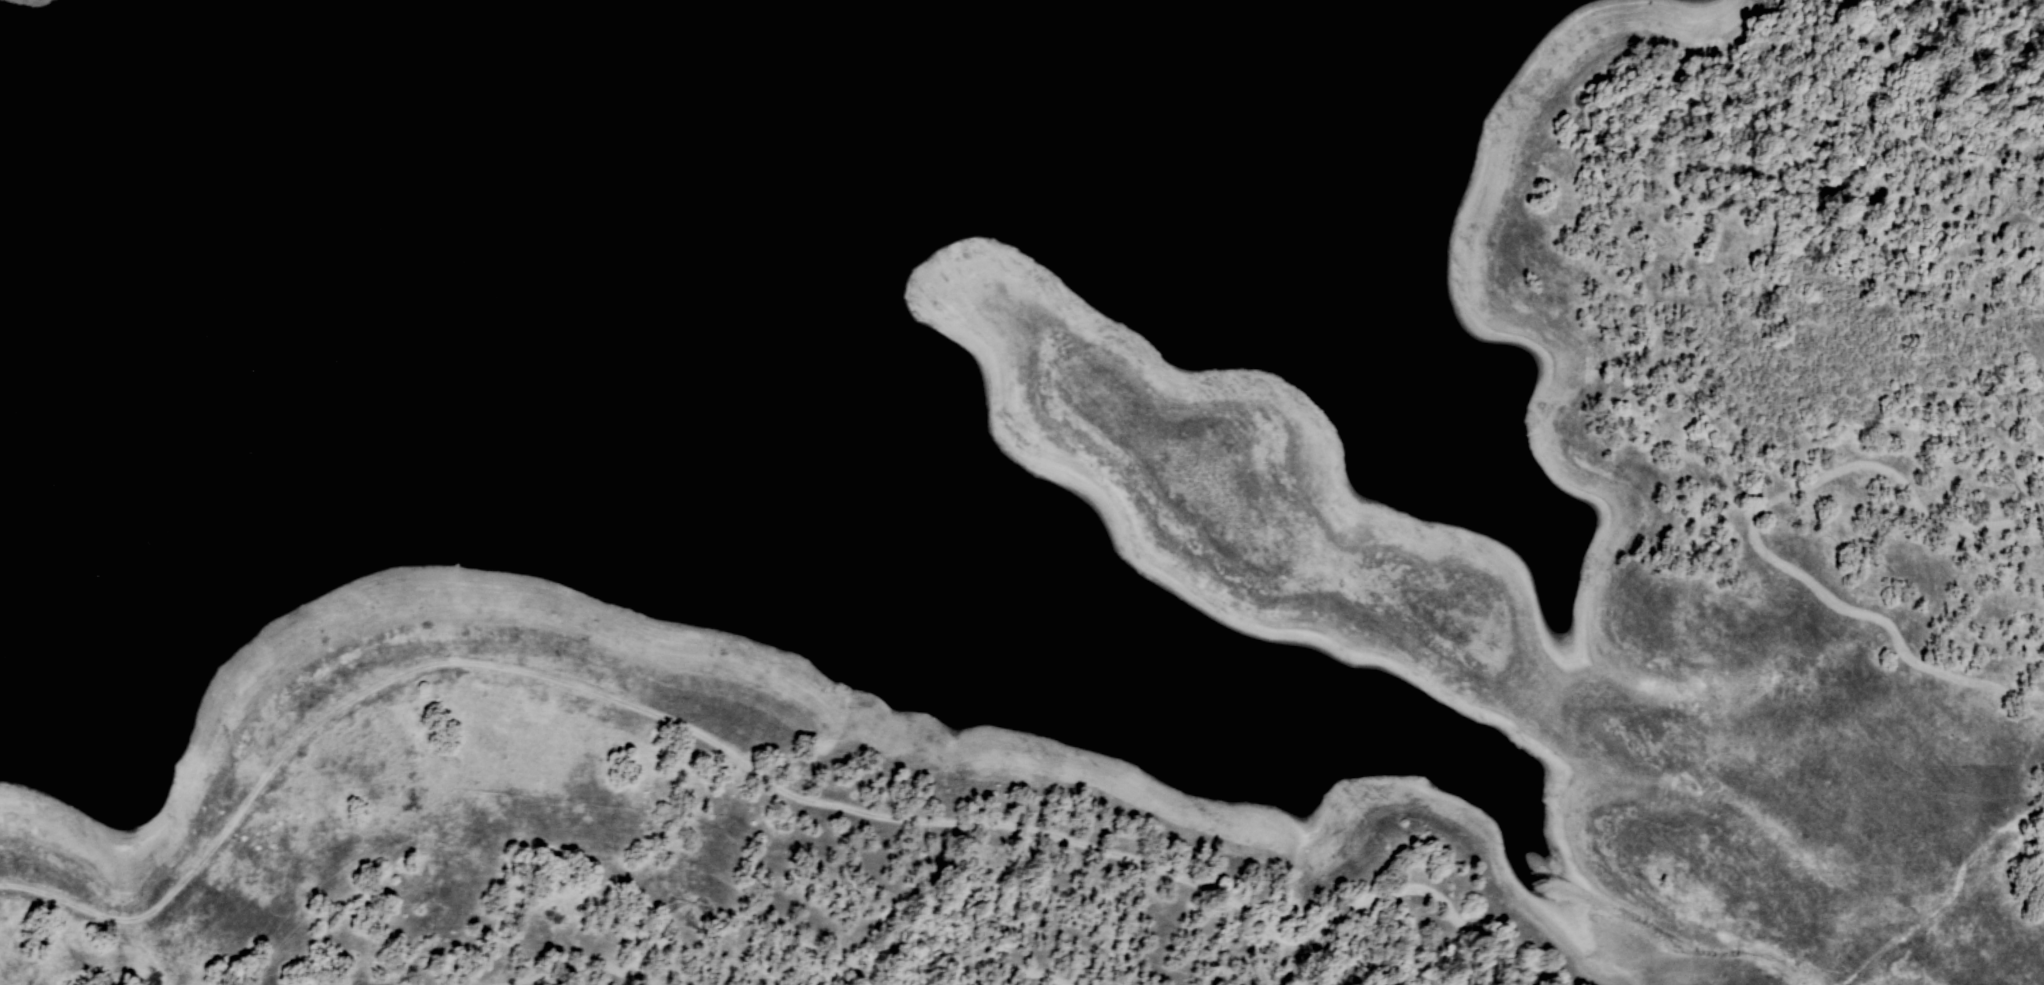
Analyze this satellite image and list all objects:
river: (943, 49)
river: (750, 83)
river: (664, 98)
river: (225, 110)
river: (538, 146)

